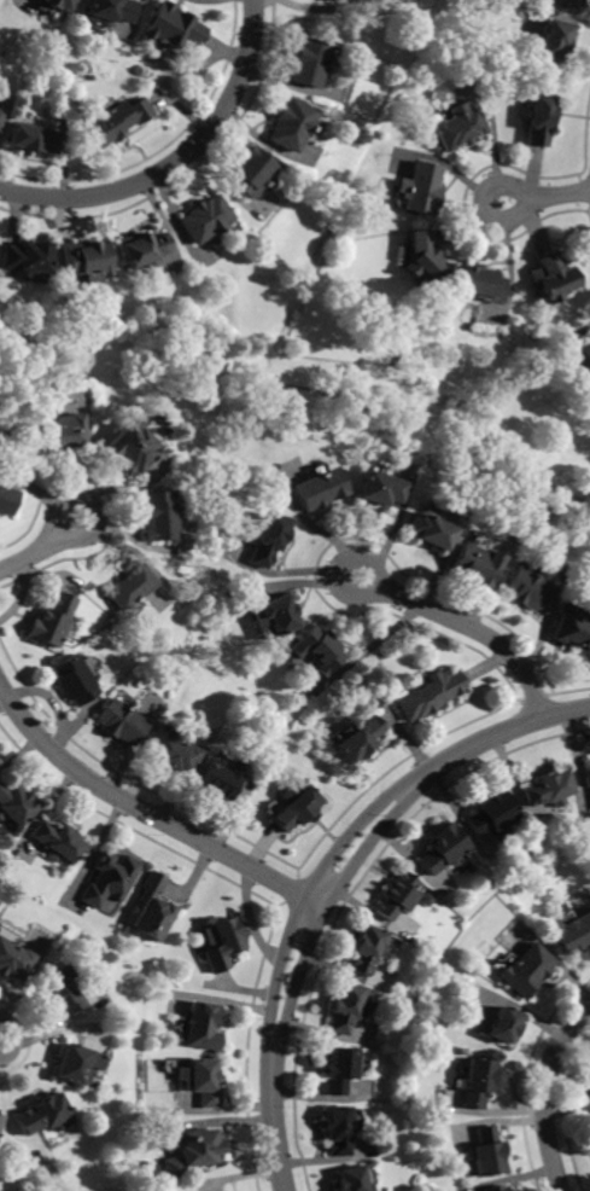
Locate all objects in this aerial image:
building: (326, 0)
building: (327, 0)
building: (569, 4)
building: (62, 5)
building: (111, 11)
building: (173, 27)
building: (555, 39)
building: (308, 62)
building: (1, 116)
building: (539, 120)
building: (115, 122)
building: (291, 124)
building: (460, 127)
building: (34, 139)
road: (176, 159)
building: (251, 172)
building: (421, 187)
road: (545, 196)
building: (205, 219)
building: (142, 249)
building: (425, 257)
building: (27, 260)
building: (88, 261)
building: (553, 277)
building: (481, 284)
building: (585, 348)
building: (63, 434)
building: (130, 449)
building: (320, 488)
building: (379, 488)
building: (7, 500)
building: (158, 516)
building: (428, 530)
building: (269, 539)
road: (42, 548)
building: (474, 563)
building: (129, 587)
building: (527, 589)
building: (279, 614)
building: (51, 620)
road: (468, 624)
building: (572, 631)
building: (319, 649)
building: (72, 680)
building: (430, 693)
building: (122, 722)
building: (357, 738)
building: (173, 755)
building: (589, 778)
building: (217, 782)
building: (548, 790)
building: (16, 804)
road: (144, 811)
building: (296, 811)
building: (492, 815)
building: (58, 841)
building: (443, 849)
building: (111, 878)
road: (329, 879)
building: (397, 896)
building: (427, 900)
building: (150, 908)
building: (574, 935)
building: (221, 943)
building: (368, 951)
building: (14, 960)
building: (527, 971)
building: (63, 990)
building: (346, 1009)
building: (504, 1026)
building: (203, 1027)
building: (74, 1064)
building: (340, 1070)
building: (200, 1081)
building: (479, 1082)
road: (547, 1093)
building: (45, 1115)
building: (0, 1119)
building: (339, 1131)
building: (486, 1152)
building: (193, 1154)
building: (352, 1180)
building: (496, 1189)

